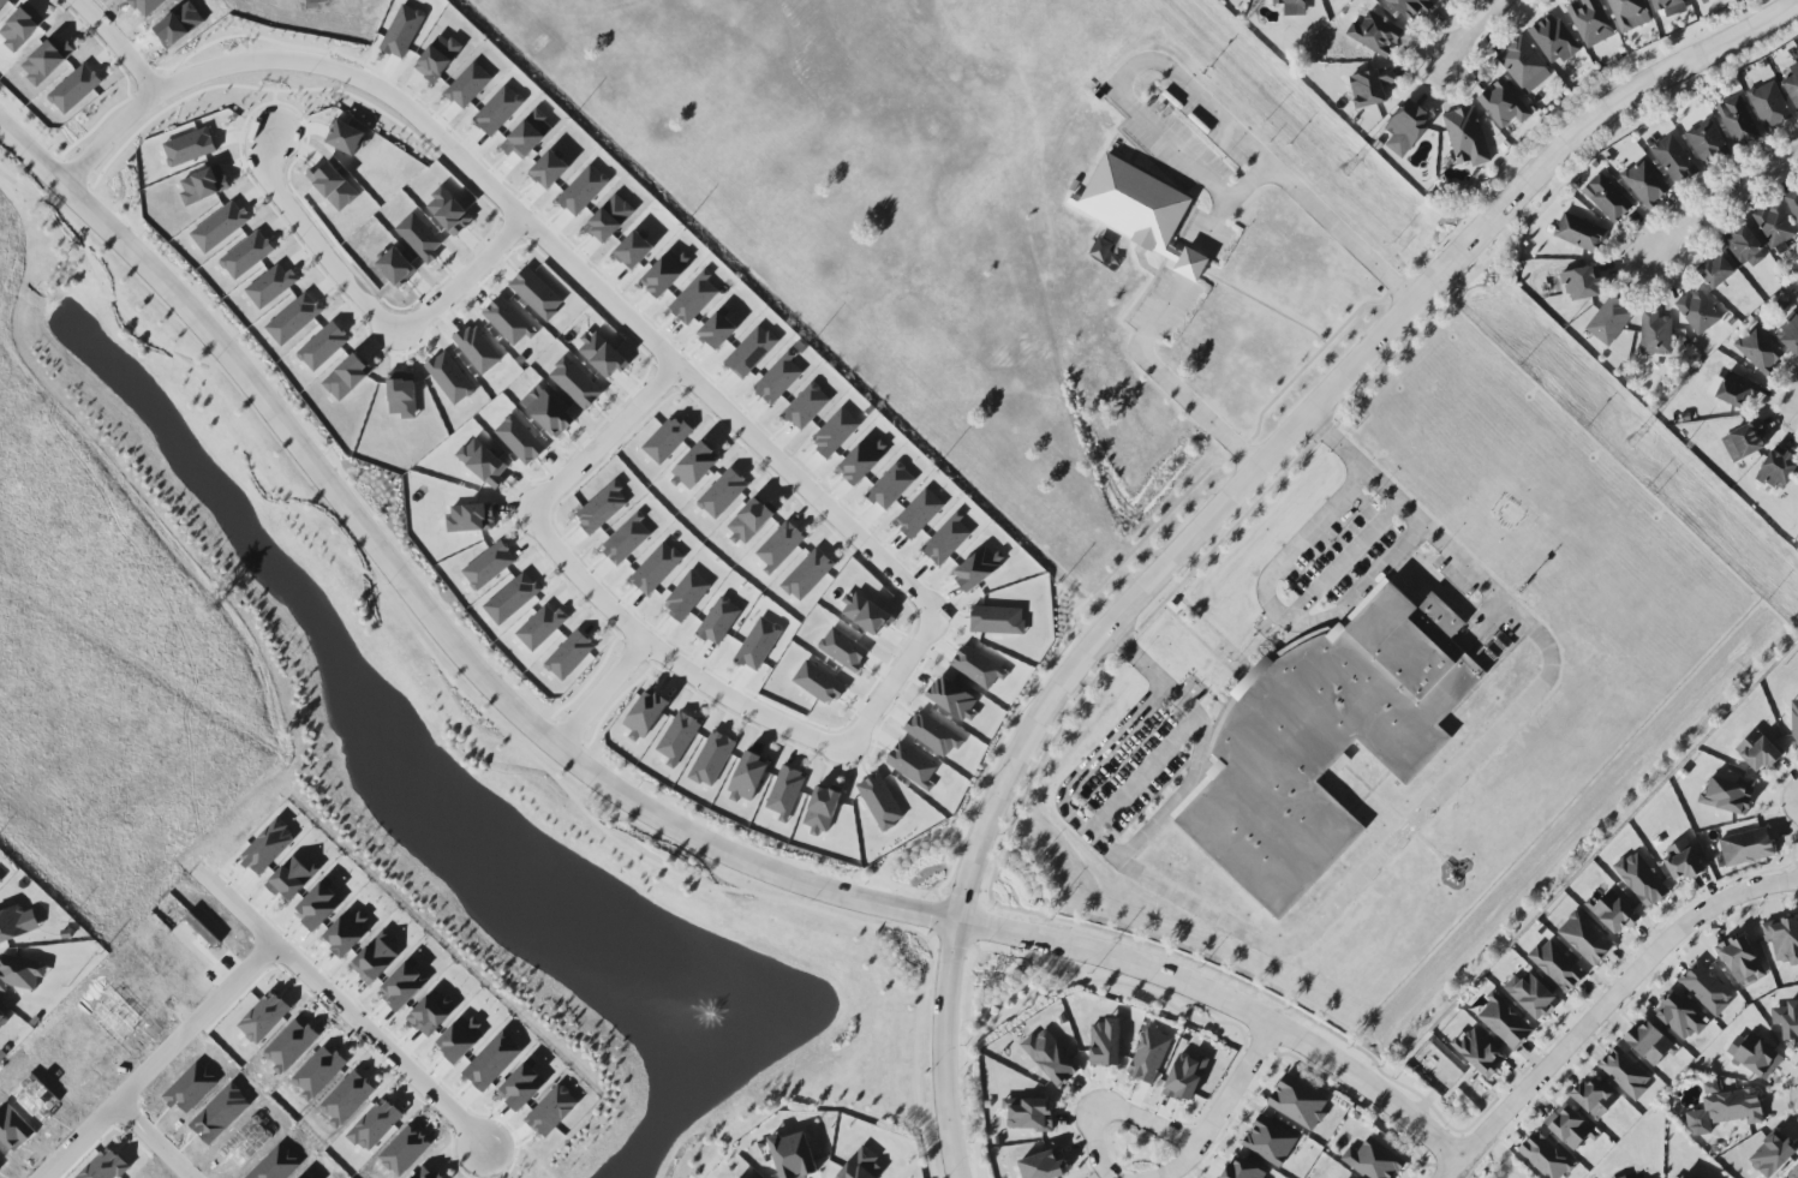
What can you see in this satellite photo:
building: (1441, 0)
building: (1703, 1)
building: (1669, 6)
building: (1292, 7)
building: (1411, 7)
building: (1629, 14)
building: (1590, 22)
road: (1468, 30)
building: (1375, 34)
building: (1553, 40)
road: (114, 49)
building: (1524, 65)
building: (1792, 84)
building: (1372, 86)
road: (1189, 92)
building: (1503, 104)
building: (1769, 104)
building: (1737, 120)
building: (1406, 130)
building: (1467, 137)
building: (1707, 142)
building: (1673, 159)
parking lot: (1196, 169)
power tower: (1354, 173)
building: (1645, 183)
building: (1607, 198)
road: (1718, 198)
building: (1793, 203)
building: (1141, 205)
building: (1774, 225)
building: (1579, 233)
building: (1743, 246)
building: (1716, 270)
building: (1583, 283)
building: (1797, 299)
building: (1698, 311)
road: (370, 318)
building: (1609, 321)
building: (1655, 333)
building: (1790, 335)
building: (1760, 349)
building: (752, 352)
road: (1166, 388)
building: (1737, 390)
road: (718, 412)
power tower: (1636, 441)
building: (1745, 442)
building: (1778, 470)
road: (1225, 501)
road: (546, 506)
road: (1339, 561)
building: (976, 568)
road: (419, 603)
road: (1277, 616)
building: (997, 621)
building: (843, 650)
building: (978, 666)
building: (818, 682)
building: (954, 699)
building: (645, 714)
building: (1794, 723)
building: (933, 734)
building: (677, 739)
building: (1327, 743)
building: (1757, 752)
building: (712, 759)
building: (912, 764)
road: (1140, 776)
building: (748, 778)
road: (1189, 779)
building: (785, 793)
building: (1728, 795)
building: (880, 802)
building: (823, 808)
building: (1746, 847)
building: (1681, 861)
road: (1368, 869)
building: (1641, 879)
building: (0, 881)
building: (1617, 911)
road: (238, 916)
building: (17, 922)
building: (1585, 938)
building: (1782, 939)
building: (1740, 959)
building: (1557, 965)
building: (20, 973)
road: (300, 976)
road: (1127, 982)
building: (1707, 988)
building: (1533, 995)
road: (1227, 1001)
road: (1606, 1005)
building: (264, 1017)
building: (1681, 1017)
building: (2, 1019)
building: (1504, 1022)
building: (1791, 1023)
building: (1650, 1042)
road: (969, 1044)
building: (1105, 1044)
building: (1479, 1052)
building: (1149, 1056)
building: (1755, 1056)
building: (1051, 1058)
building: (1625, 1072)
building: (1185, 1077)
road: (1237, 1087)
road: (1436, 1090)
building: (1595, 1098)
building: (1298, 1102)
building: (1726, 1107)
building: (552, 1111)
road: (119, 1113)
building: (1028, 1113)
road: (1136, 1114)
building: (1569, 1128)
building: (1271, 1141)
building: (793, 1155)
building: (1772, 1155)
building: (1545, 1156)
building: (1374, 1160)
park: (1494, 1160)
road: (1500, 1160)
building: (1044, 1165)
building: (106, 1166)
building: (862, 1166)
building: (1243, 1170)
building: (1793, 1173)
building: (1624, 1177)
building: (1683, 1177)

